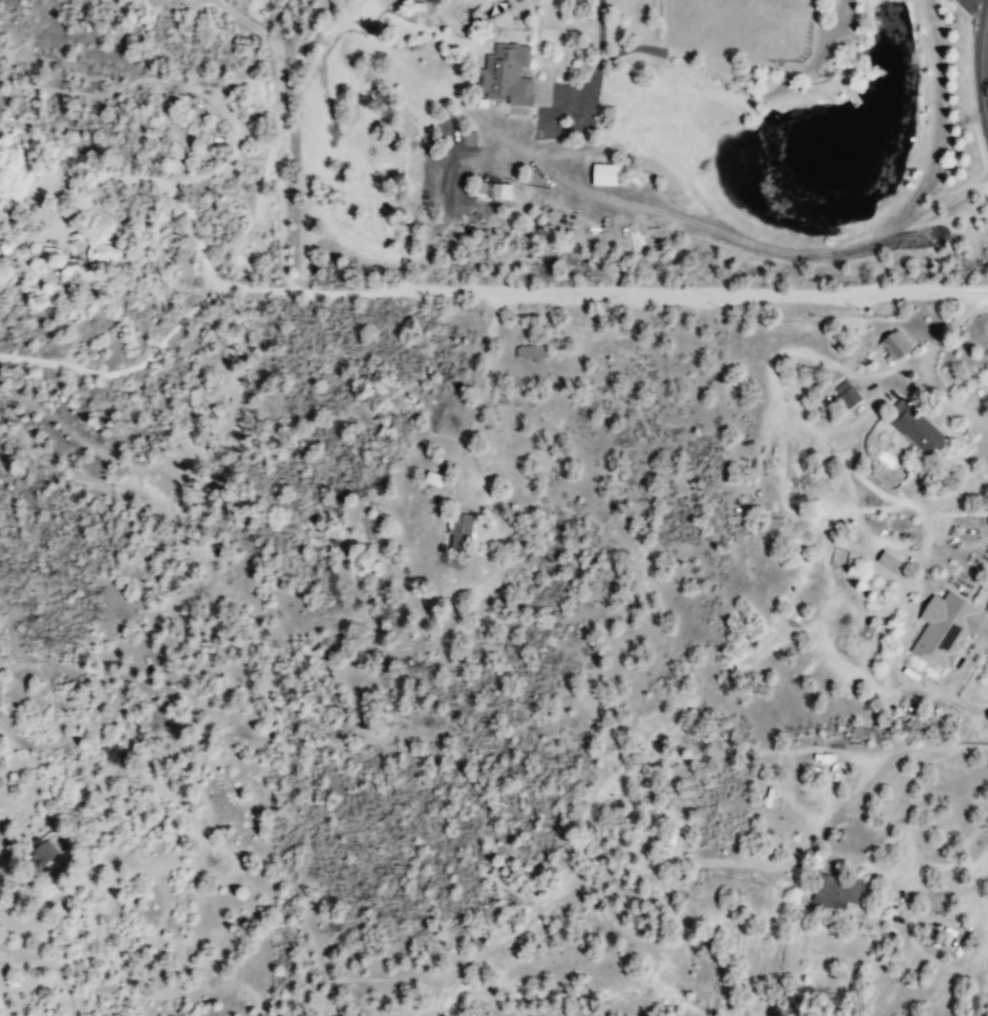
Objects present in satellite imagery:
road: (981, 63)
building: (509, 74)
building: (607, 173)
building: (496, 189)
road: (607, 294)
building: (898, 343)
building: (532, 351)
road: (128, 368)
building: (847, 393)
building: (918, 427)
building: (464, 532)
building: (890, 559)
building: (948, 625)
building: (47, 850)
building: (840, 891)
road: (53, 966)

